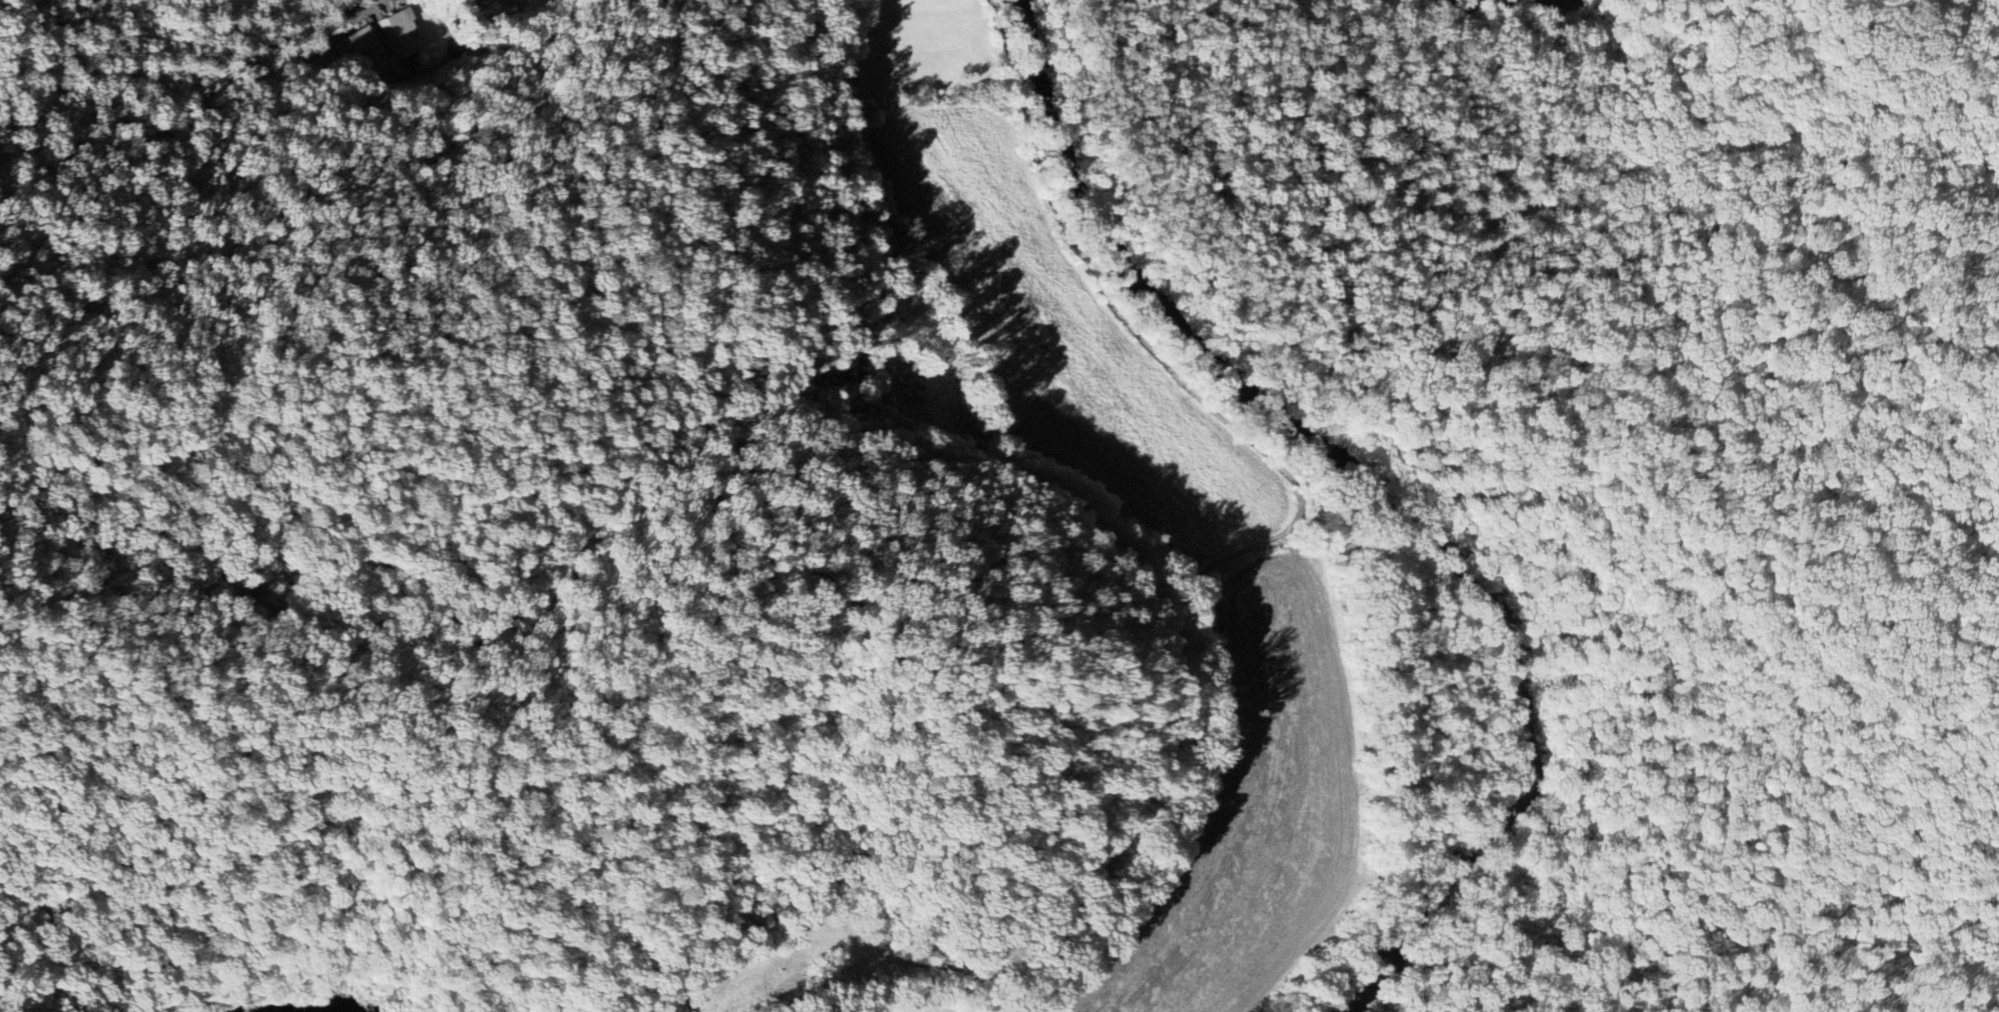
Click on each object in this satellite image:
road: (360, 14)
building: (387, 40)
river: (1332, 473)
river: (1361, 975)
river: (311, 1001)

